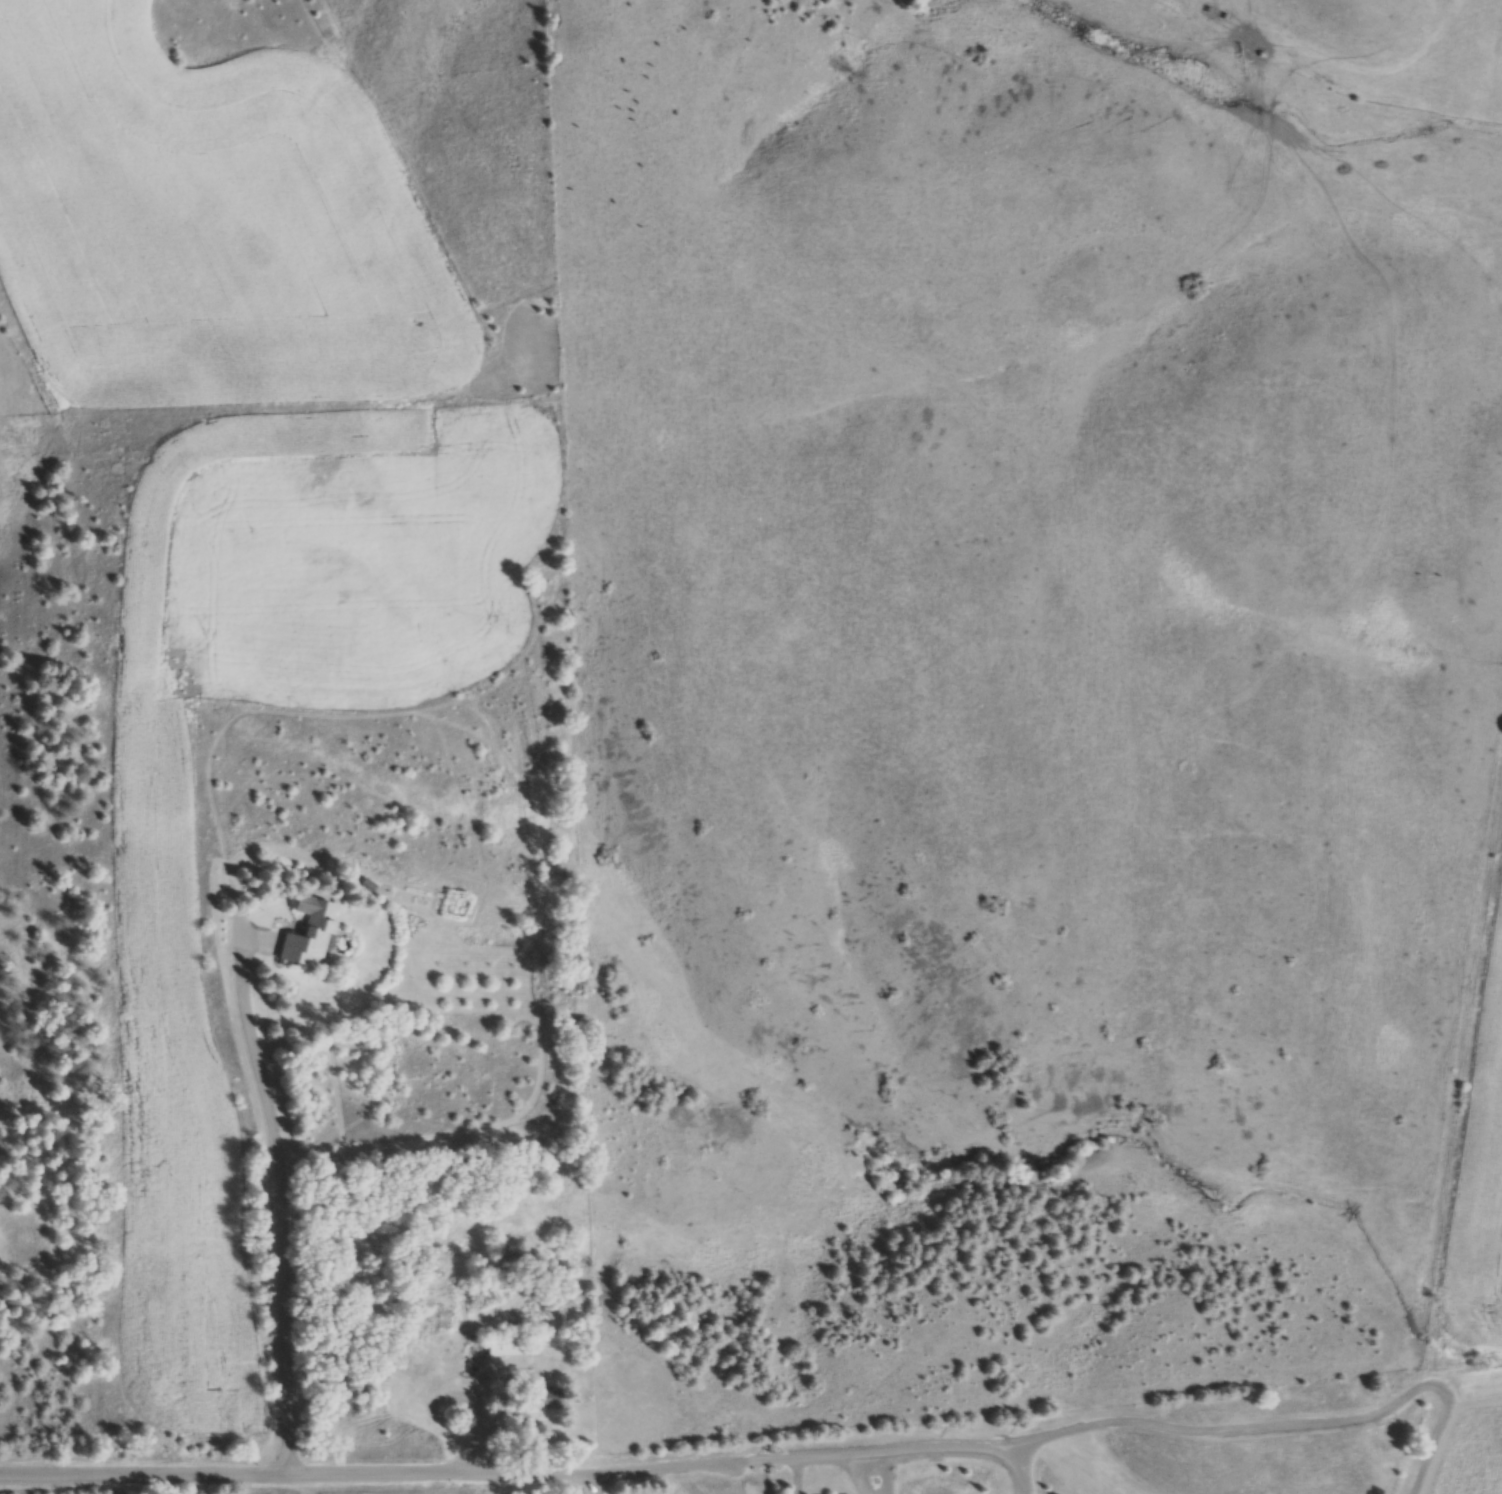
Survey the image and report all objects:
crop: (207, 232)
building: (311, 933)
road: (279, 1203)
building: (508, 1345)
road: (904, 1447)
road: (379, 1474)

